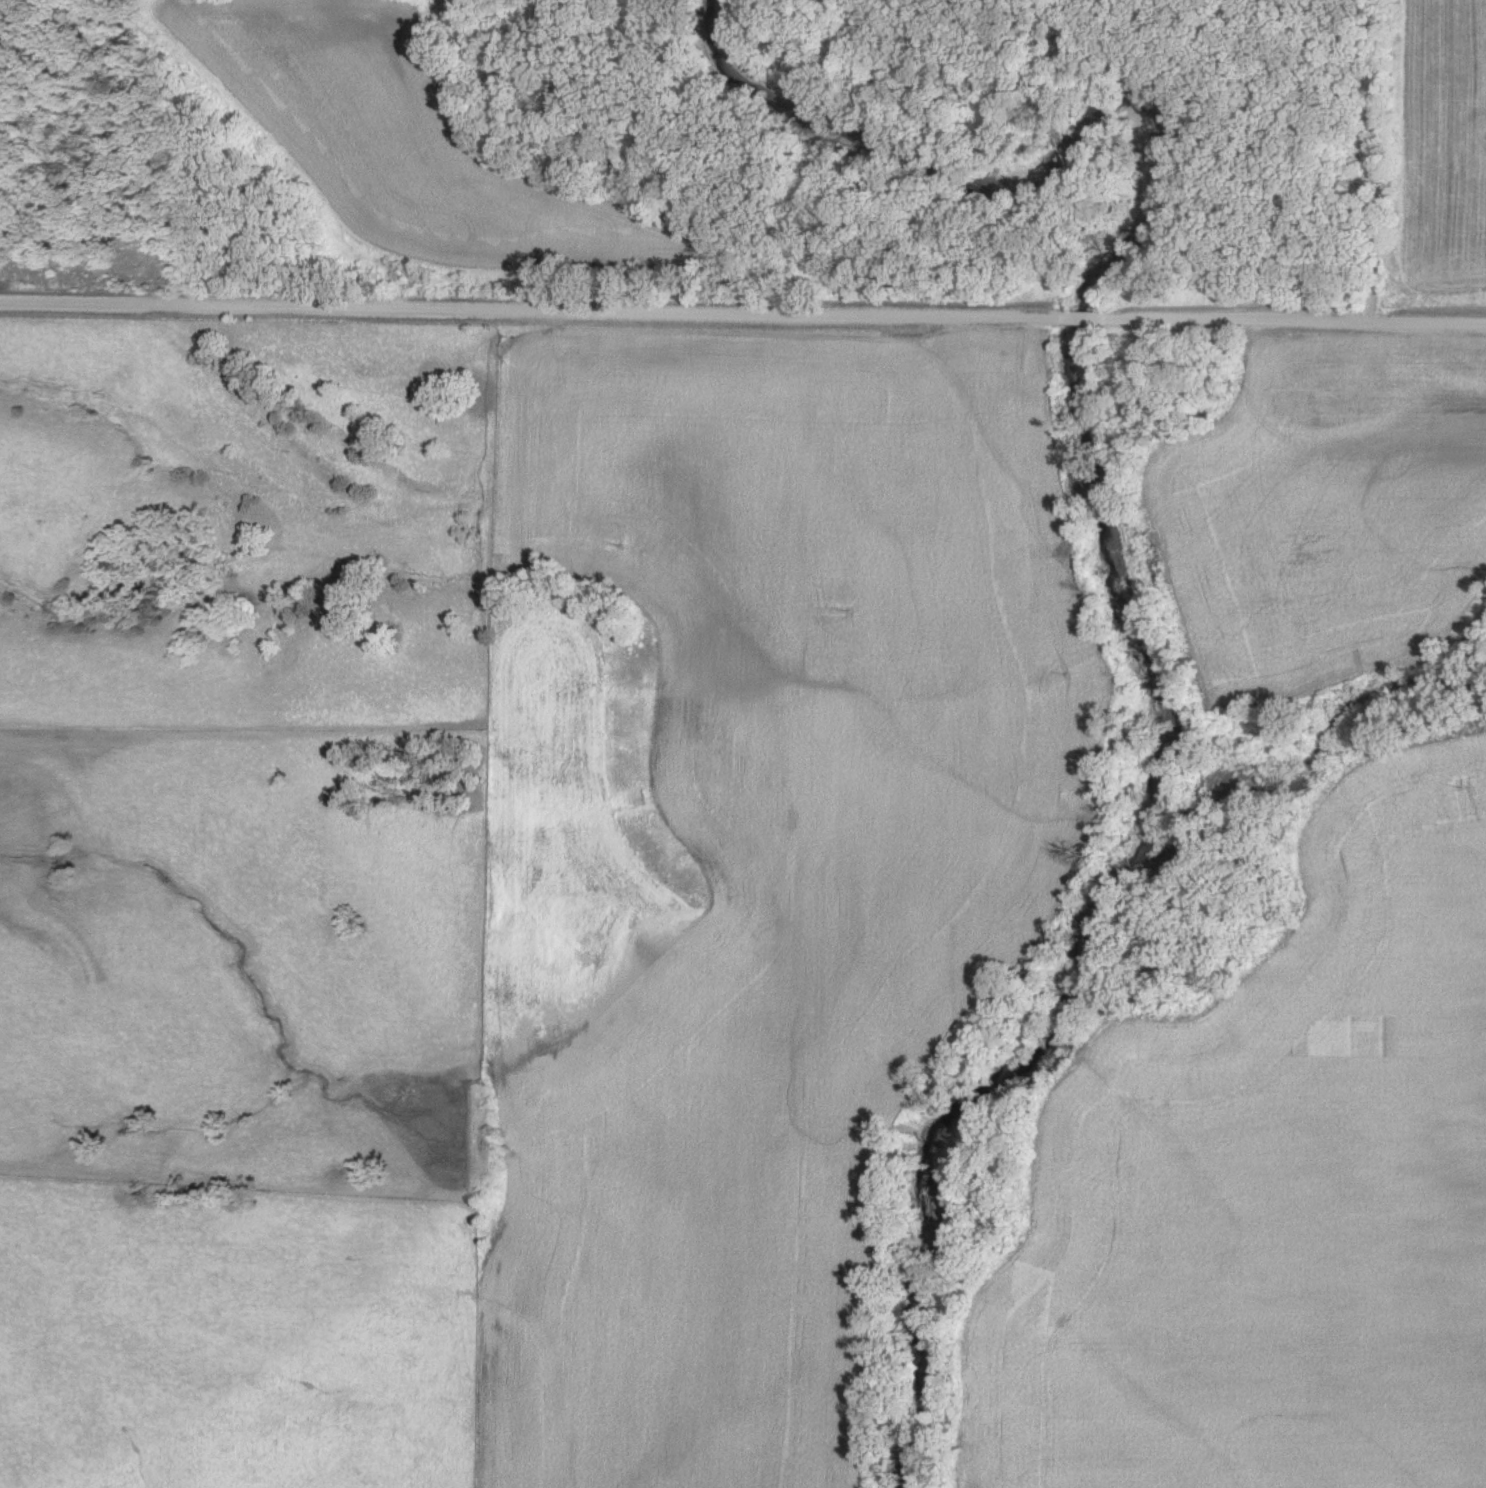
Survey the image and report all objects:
road: (743, 313)

